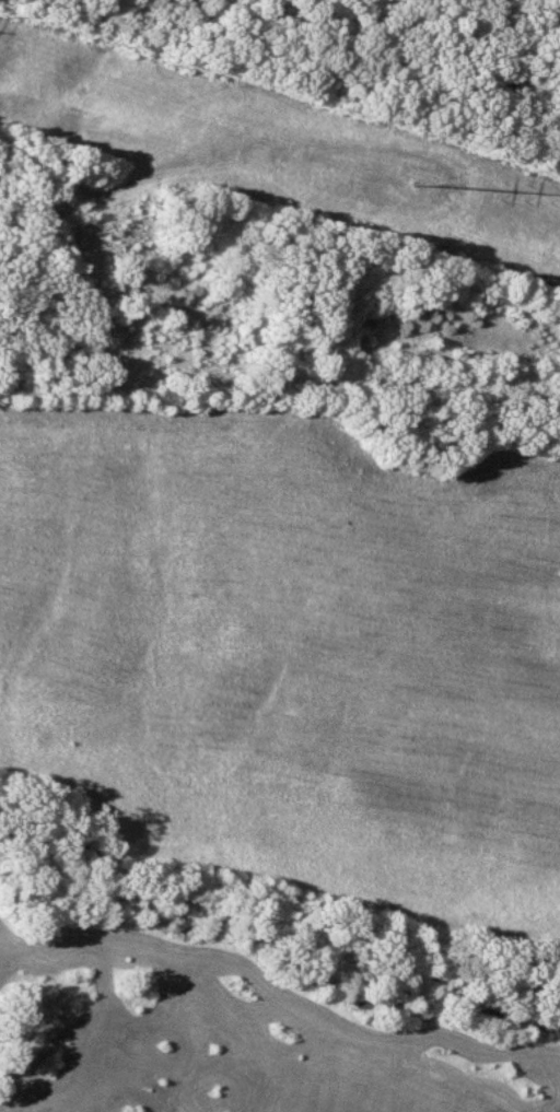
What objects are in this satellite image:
power tower: (258, 143)

